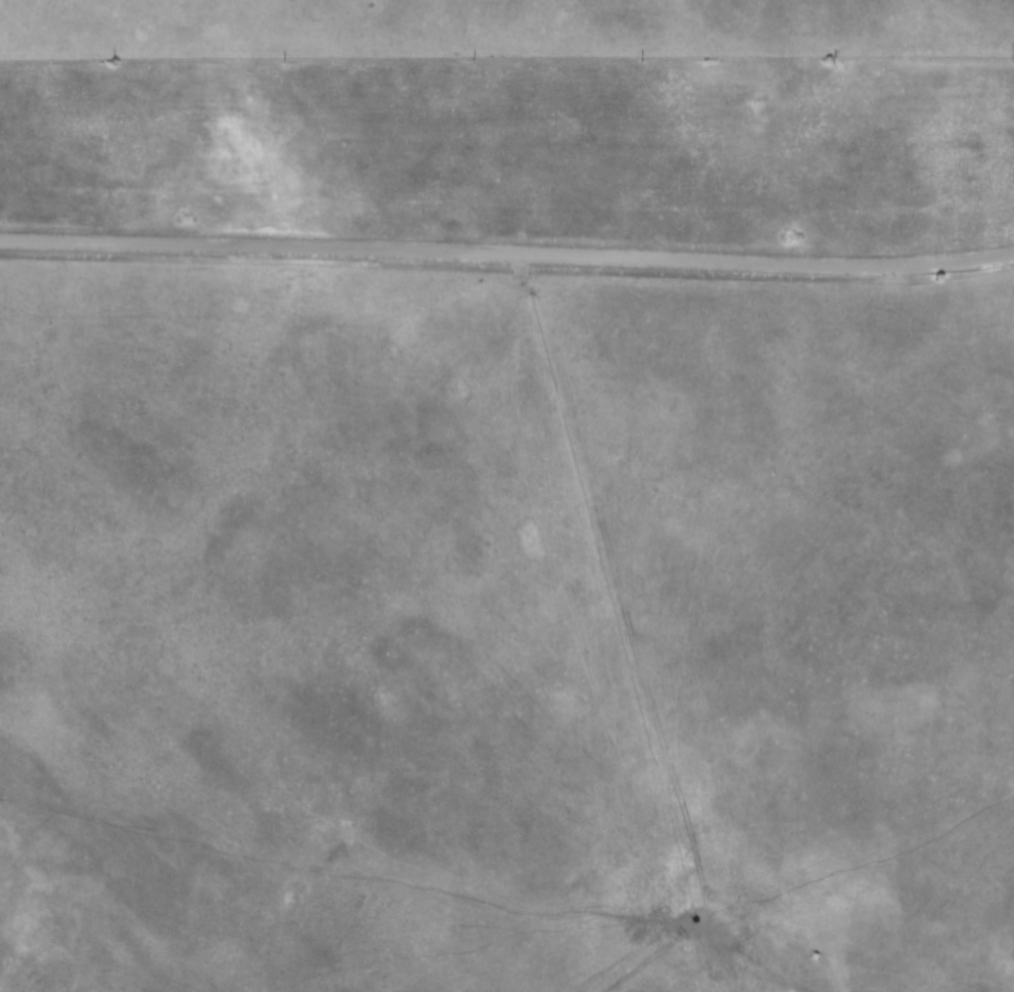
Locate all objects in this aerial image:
road: (507, 251)

